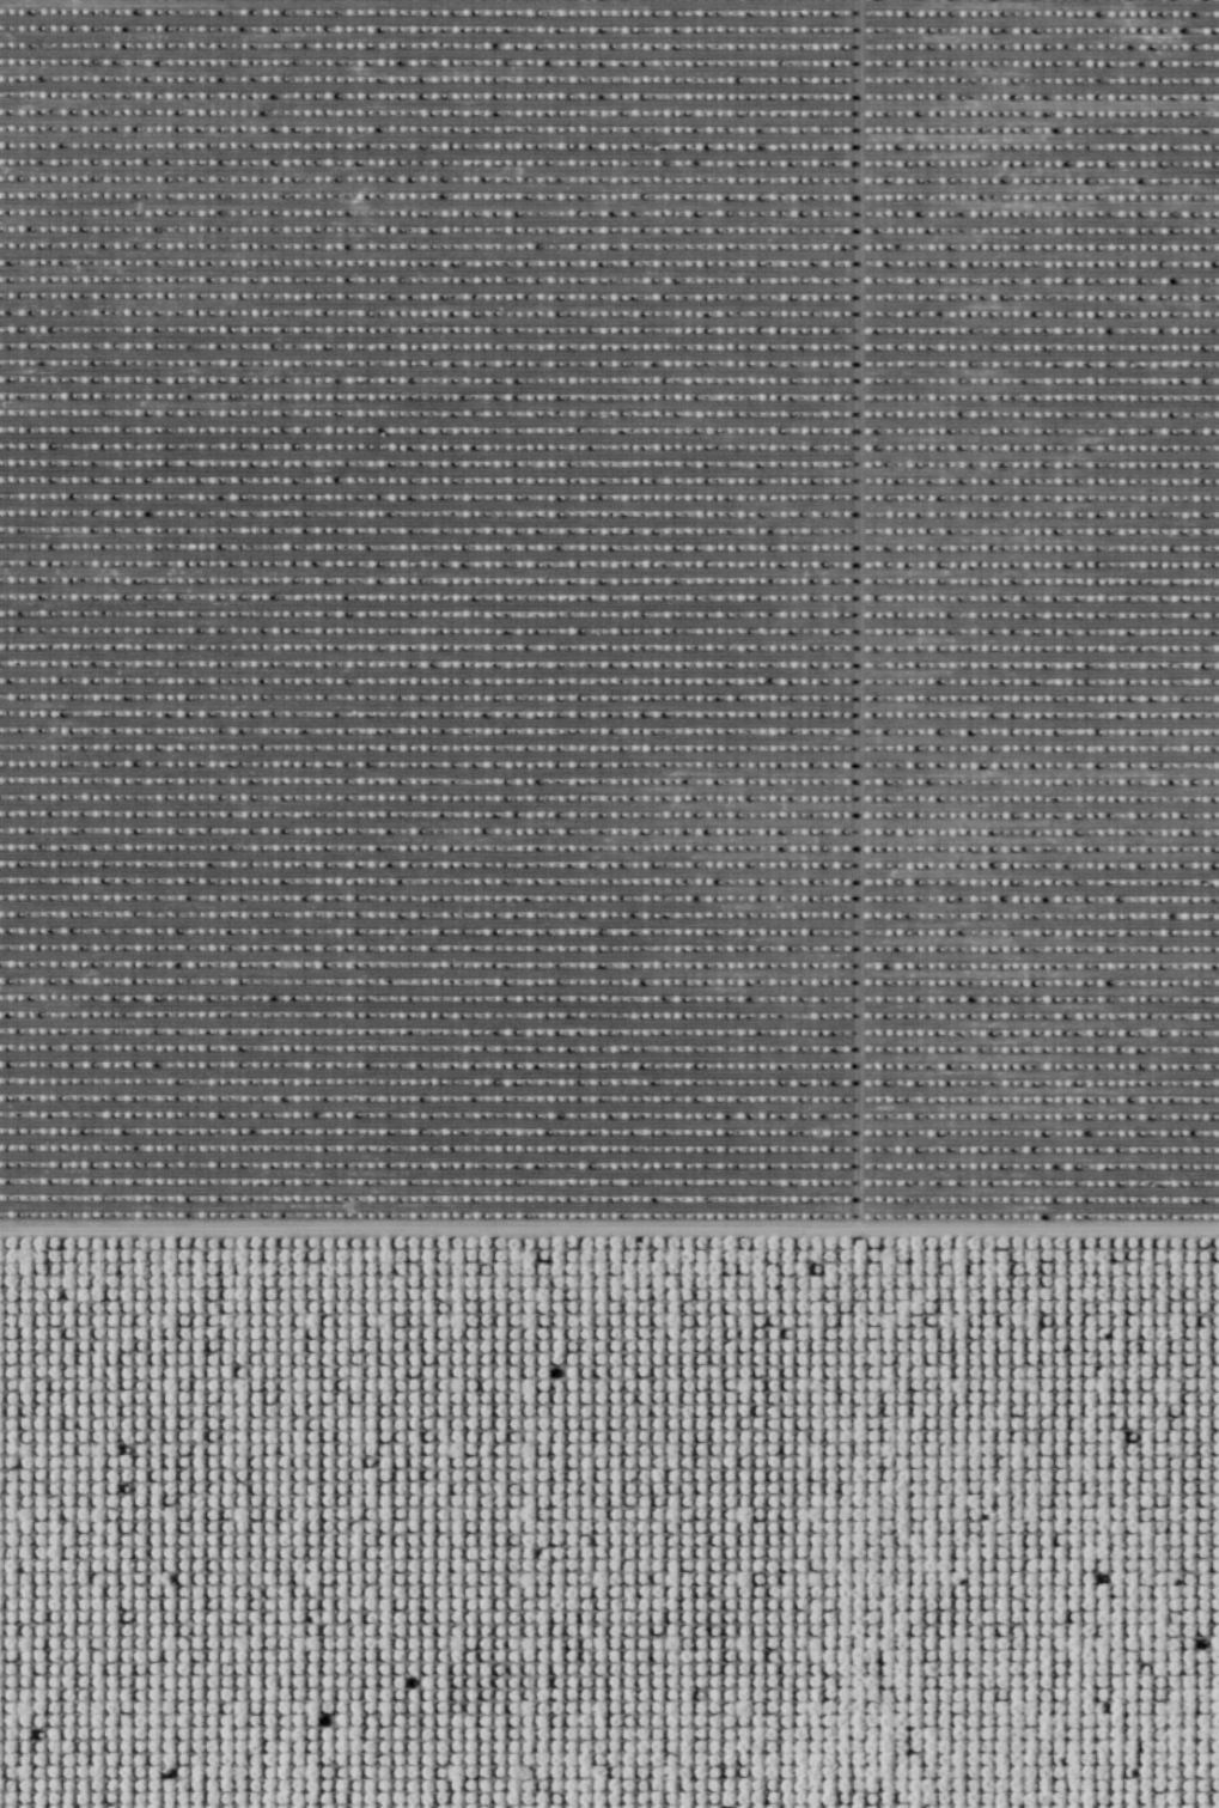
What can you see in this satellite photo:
road: (609, 1237)

